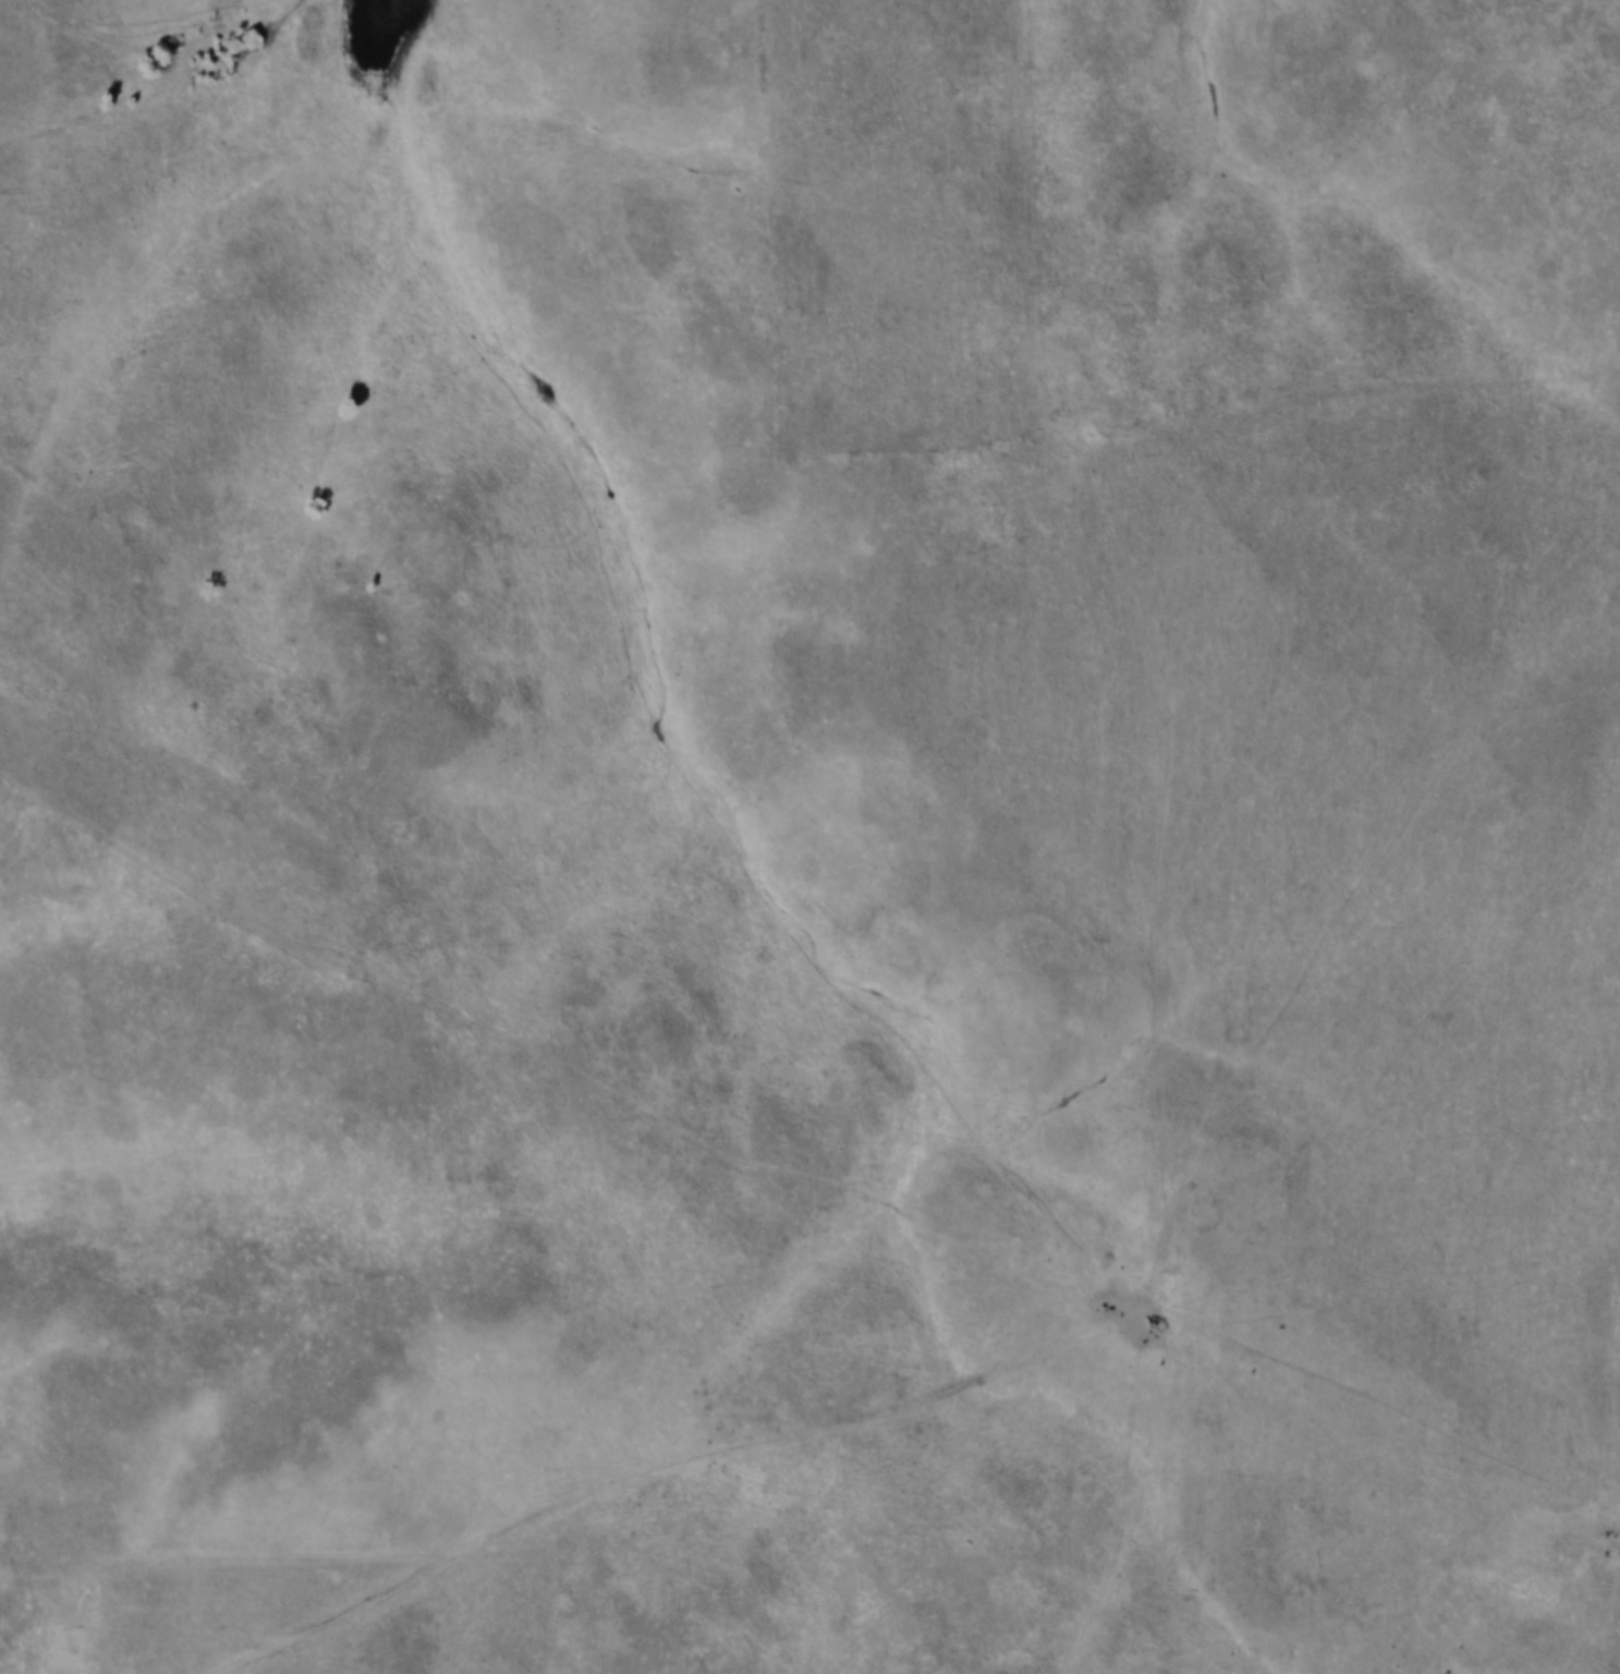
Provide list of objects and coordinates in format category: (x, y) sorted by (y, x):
road: (784, 1494)
road: (1204, 1665)

